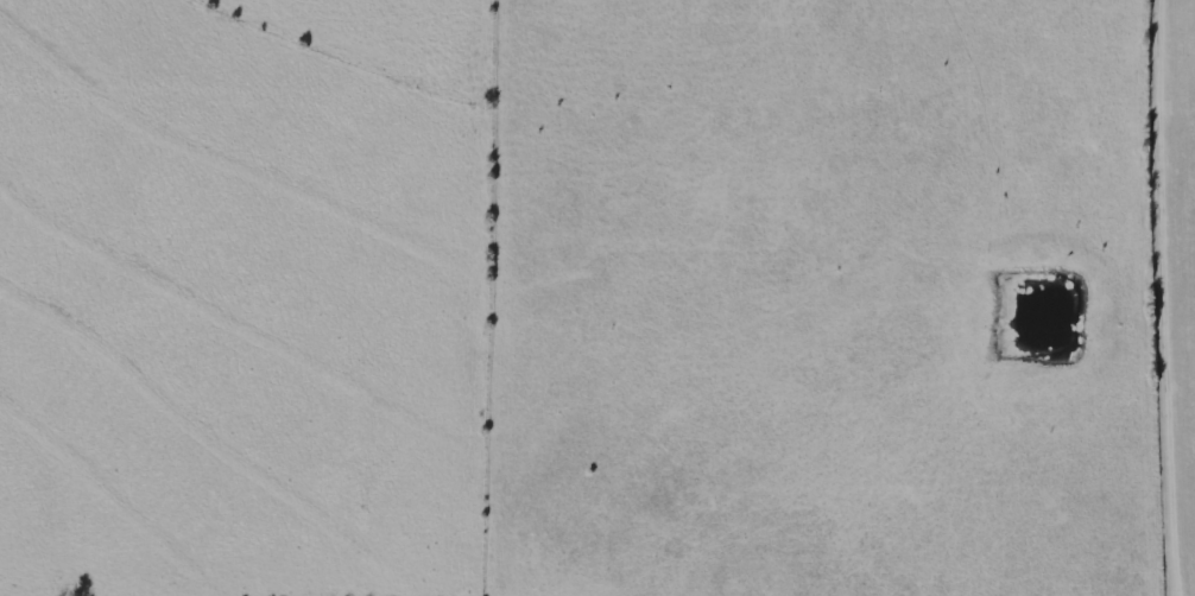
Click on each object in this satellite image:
road: (1177, 298)

